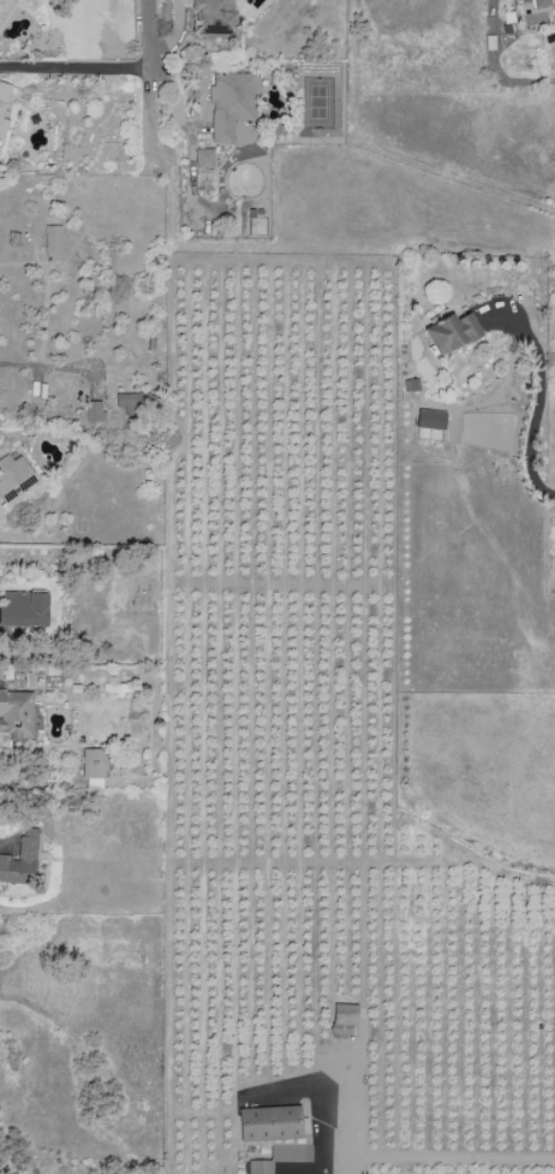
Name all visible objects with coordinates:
building: (541, 4)
building: (215, 17)
road: (107, 66)
building: (231, 102)
building: (4, 107)
road: (195, 149)
building: (204, 158)
road: (553, 192)
building: (53, 239)
building: (452, 332)
road: (38, 367)
building: (135, 399)
road: (537, 402)
building: (95, 410)
building: (430, 419)
building: (14, 478)
building: (25, 609)
building: (17, 715)
building: (92, 767)
building: (25, 853)
building: (6, 870)
building: (344, 1019)
building: (269, 1123)
road: (320, 1139)
building: (291, 1152)
building: (261, 1167)

